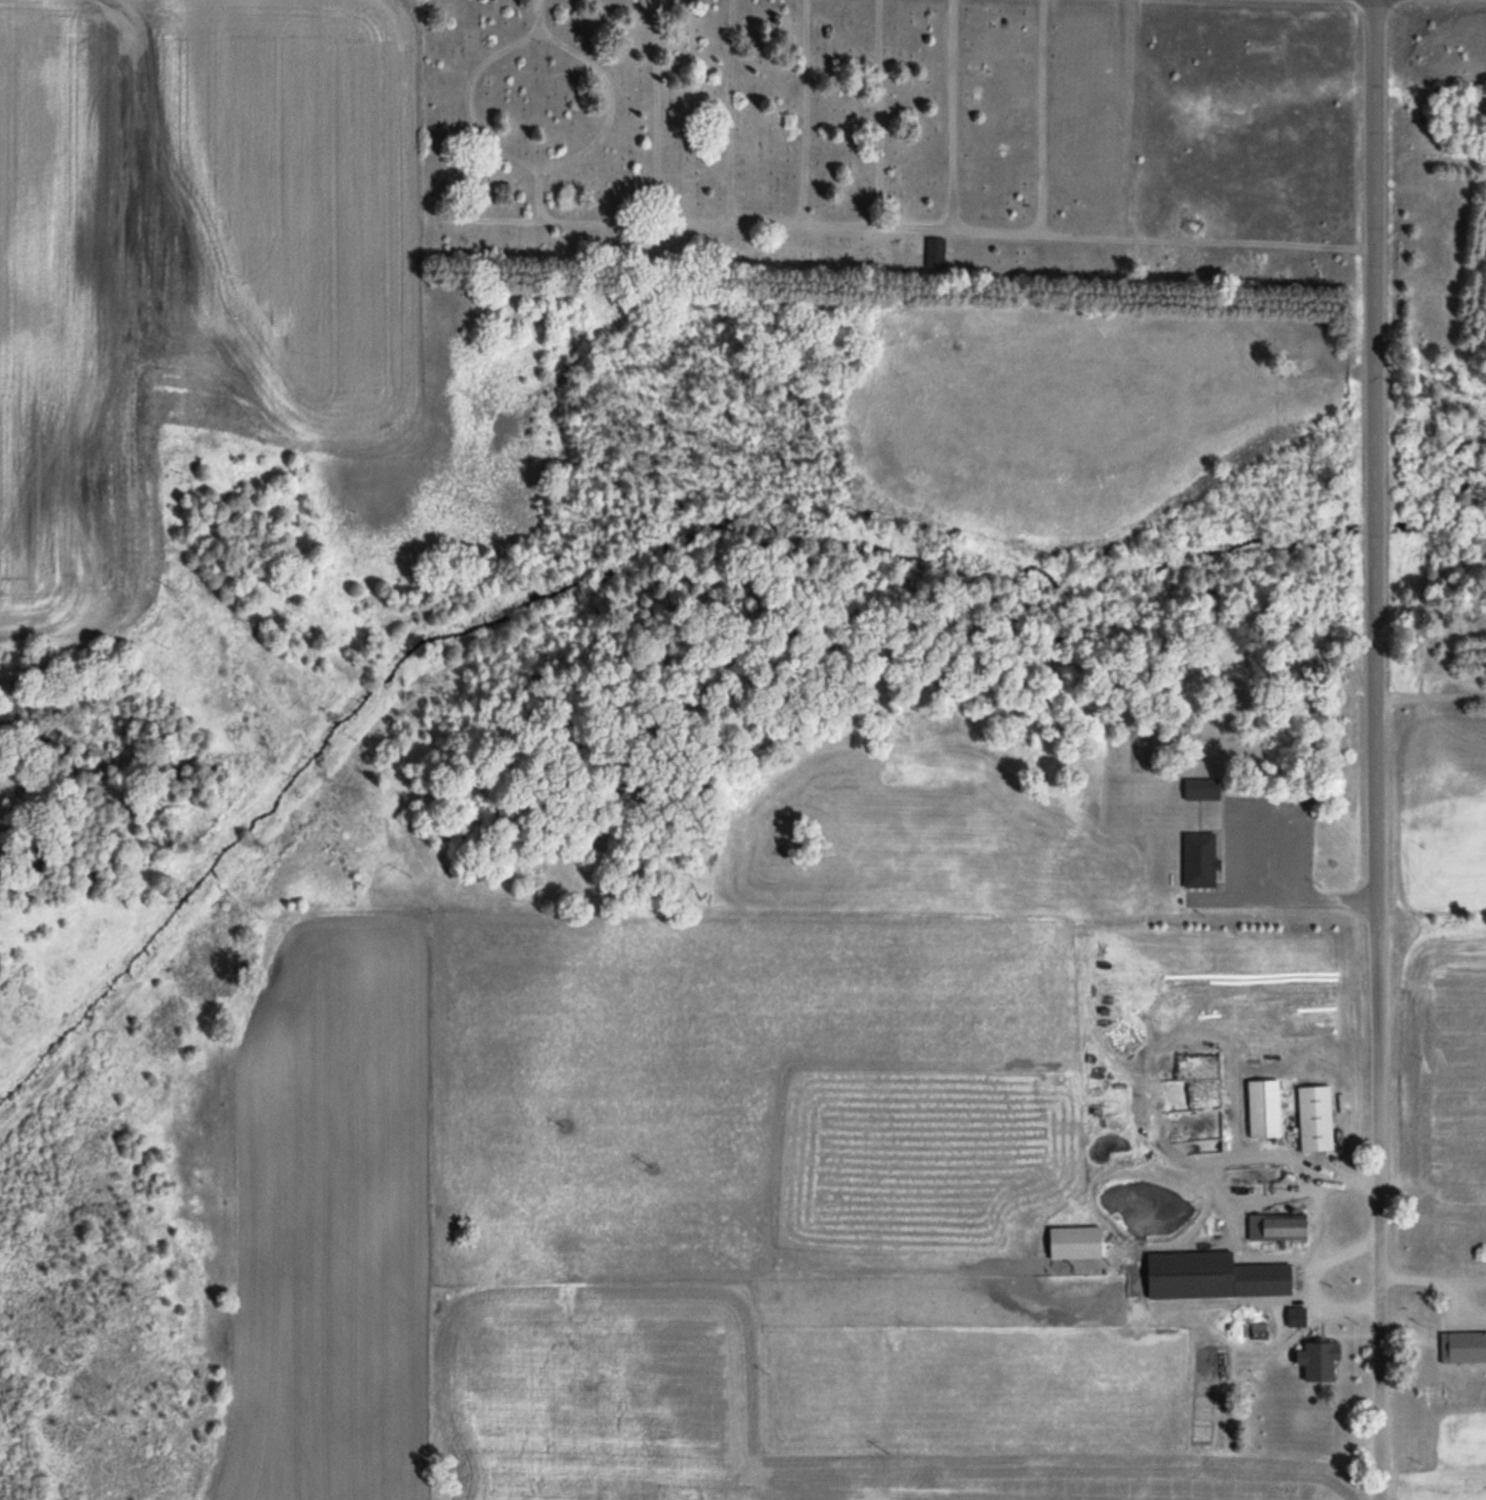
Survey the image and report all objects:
park: (891, 151)
building: (932, 250)
building: (1137, 746)
road: (1376, 749)
building: (1201, 787)
building: (1198, 858)
building: (1314, 1116)
building: (1285, 1226)
building: (1075, 1240)
building: (1213, 1274)
building: (1294, 1315)
building: (1447, 1342)
building: (1318, 1355)

